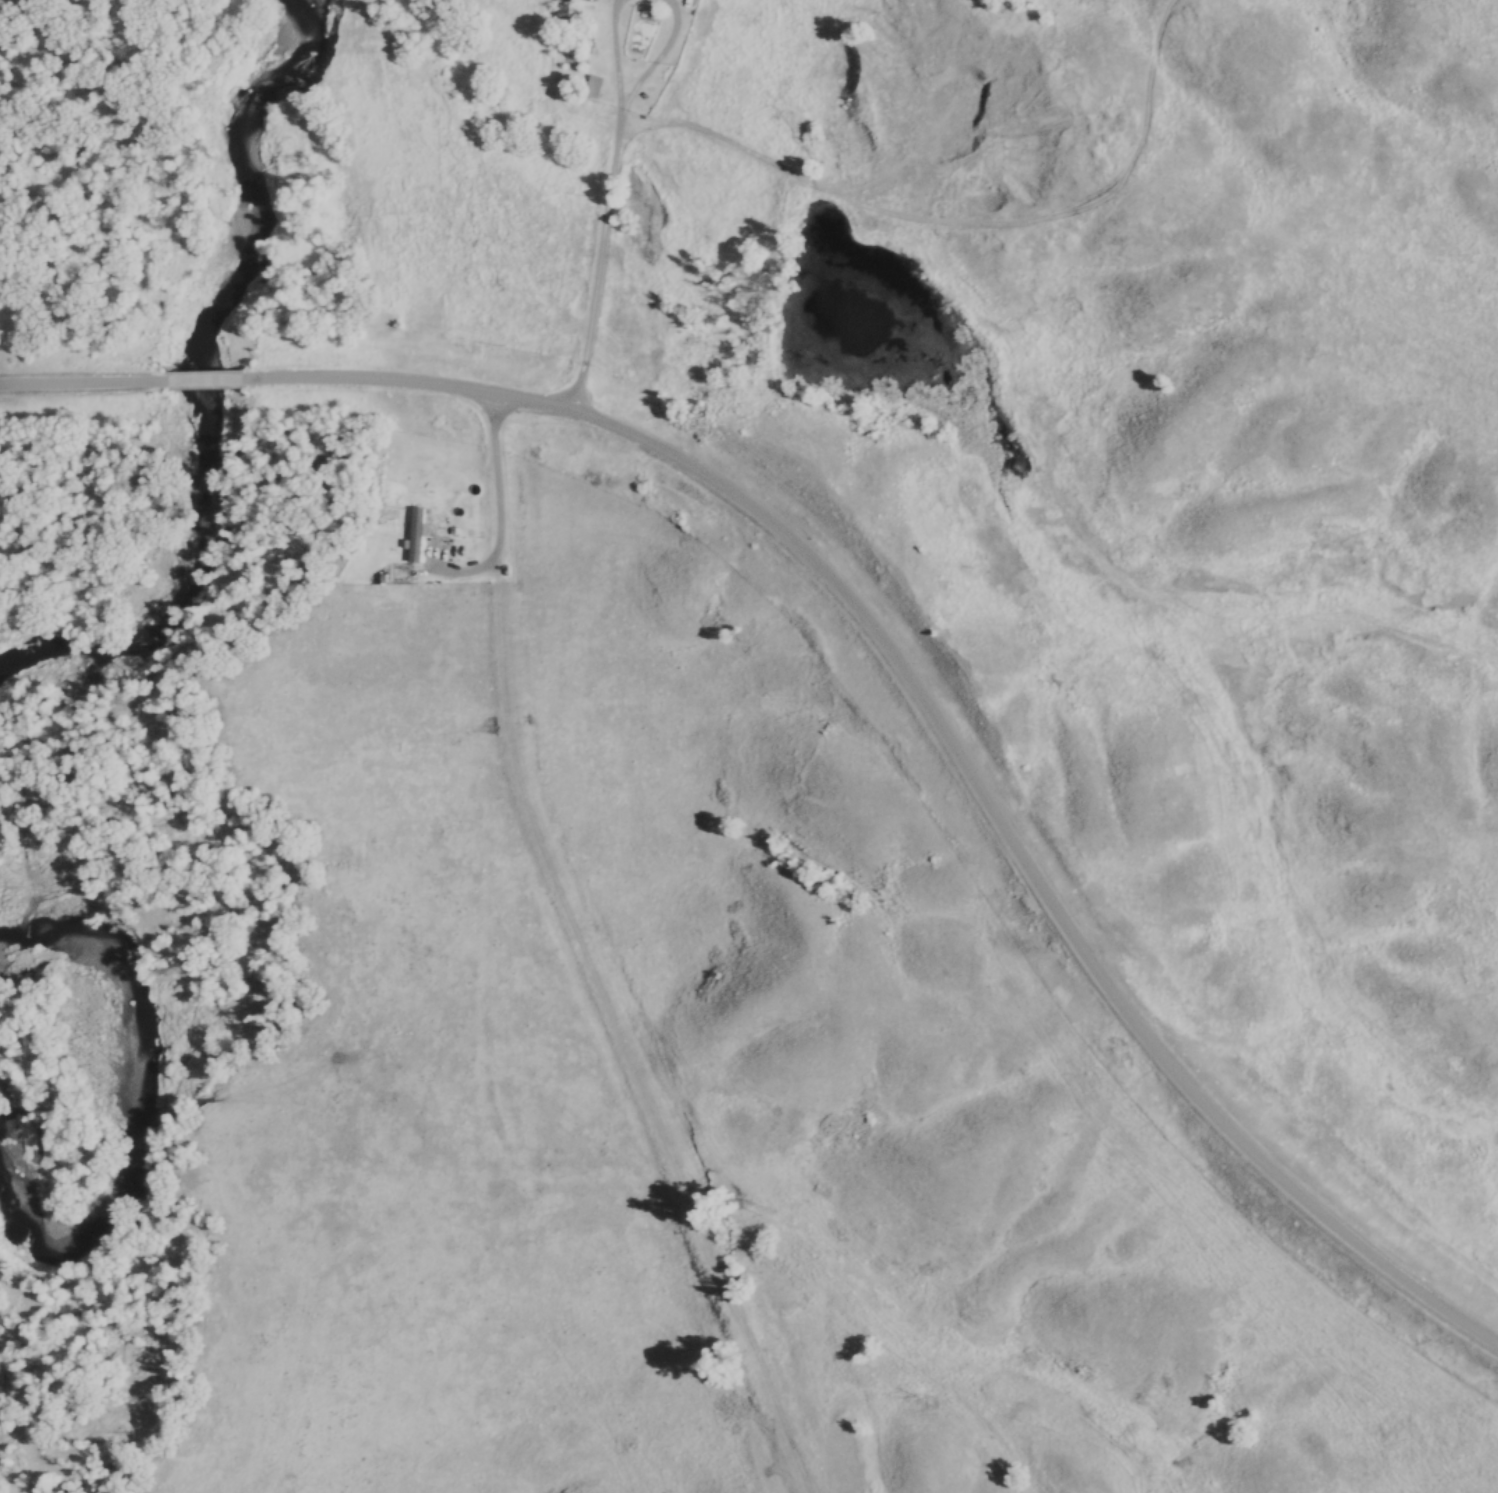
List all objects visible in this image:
building: (567, 7)
road: (214, 382)
road: (78, 384)
river: (214, 384)
road: (954, 742)
river: (161, 1091)

